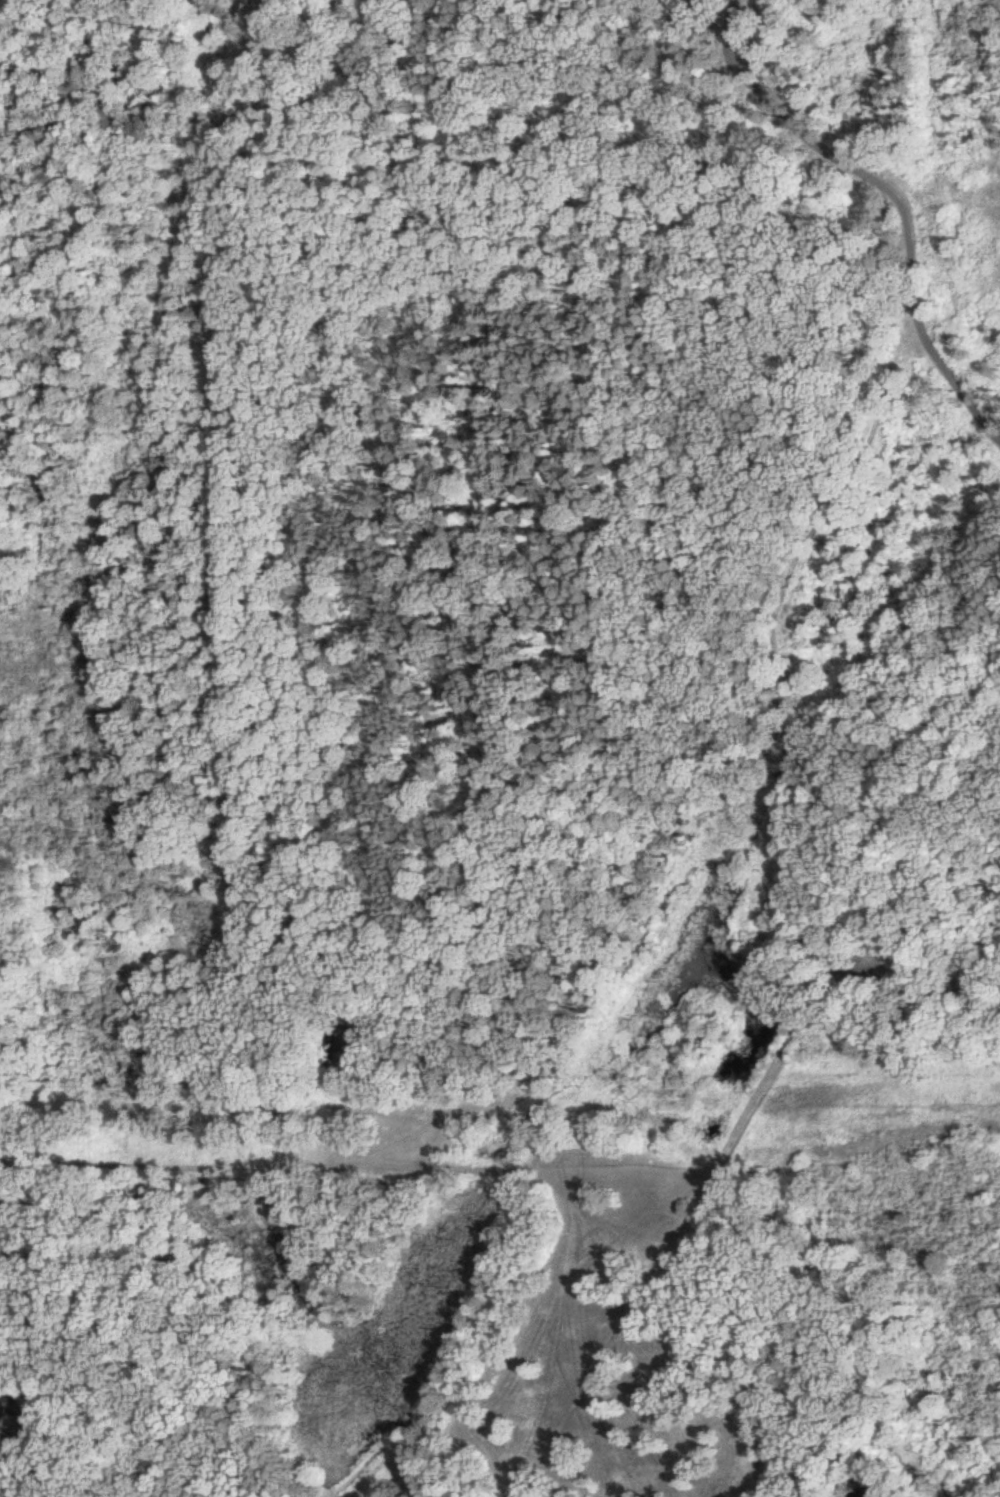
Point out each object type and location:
road: (898, 192)

